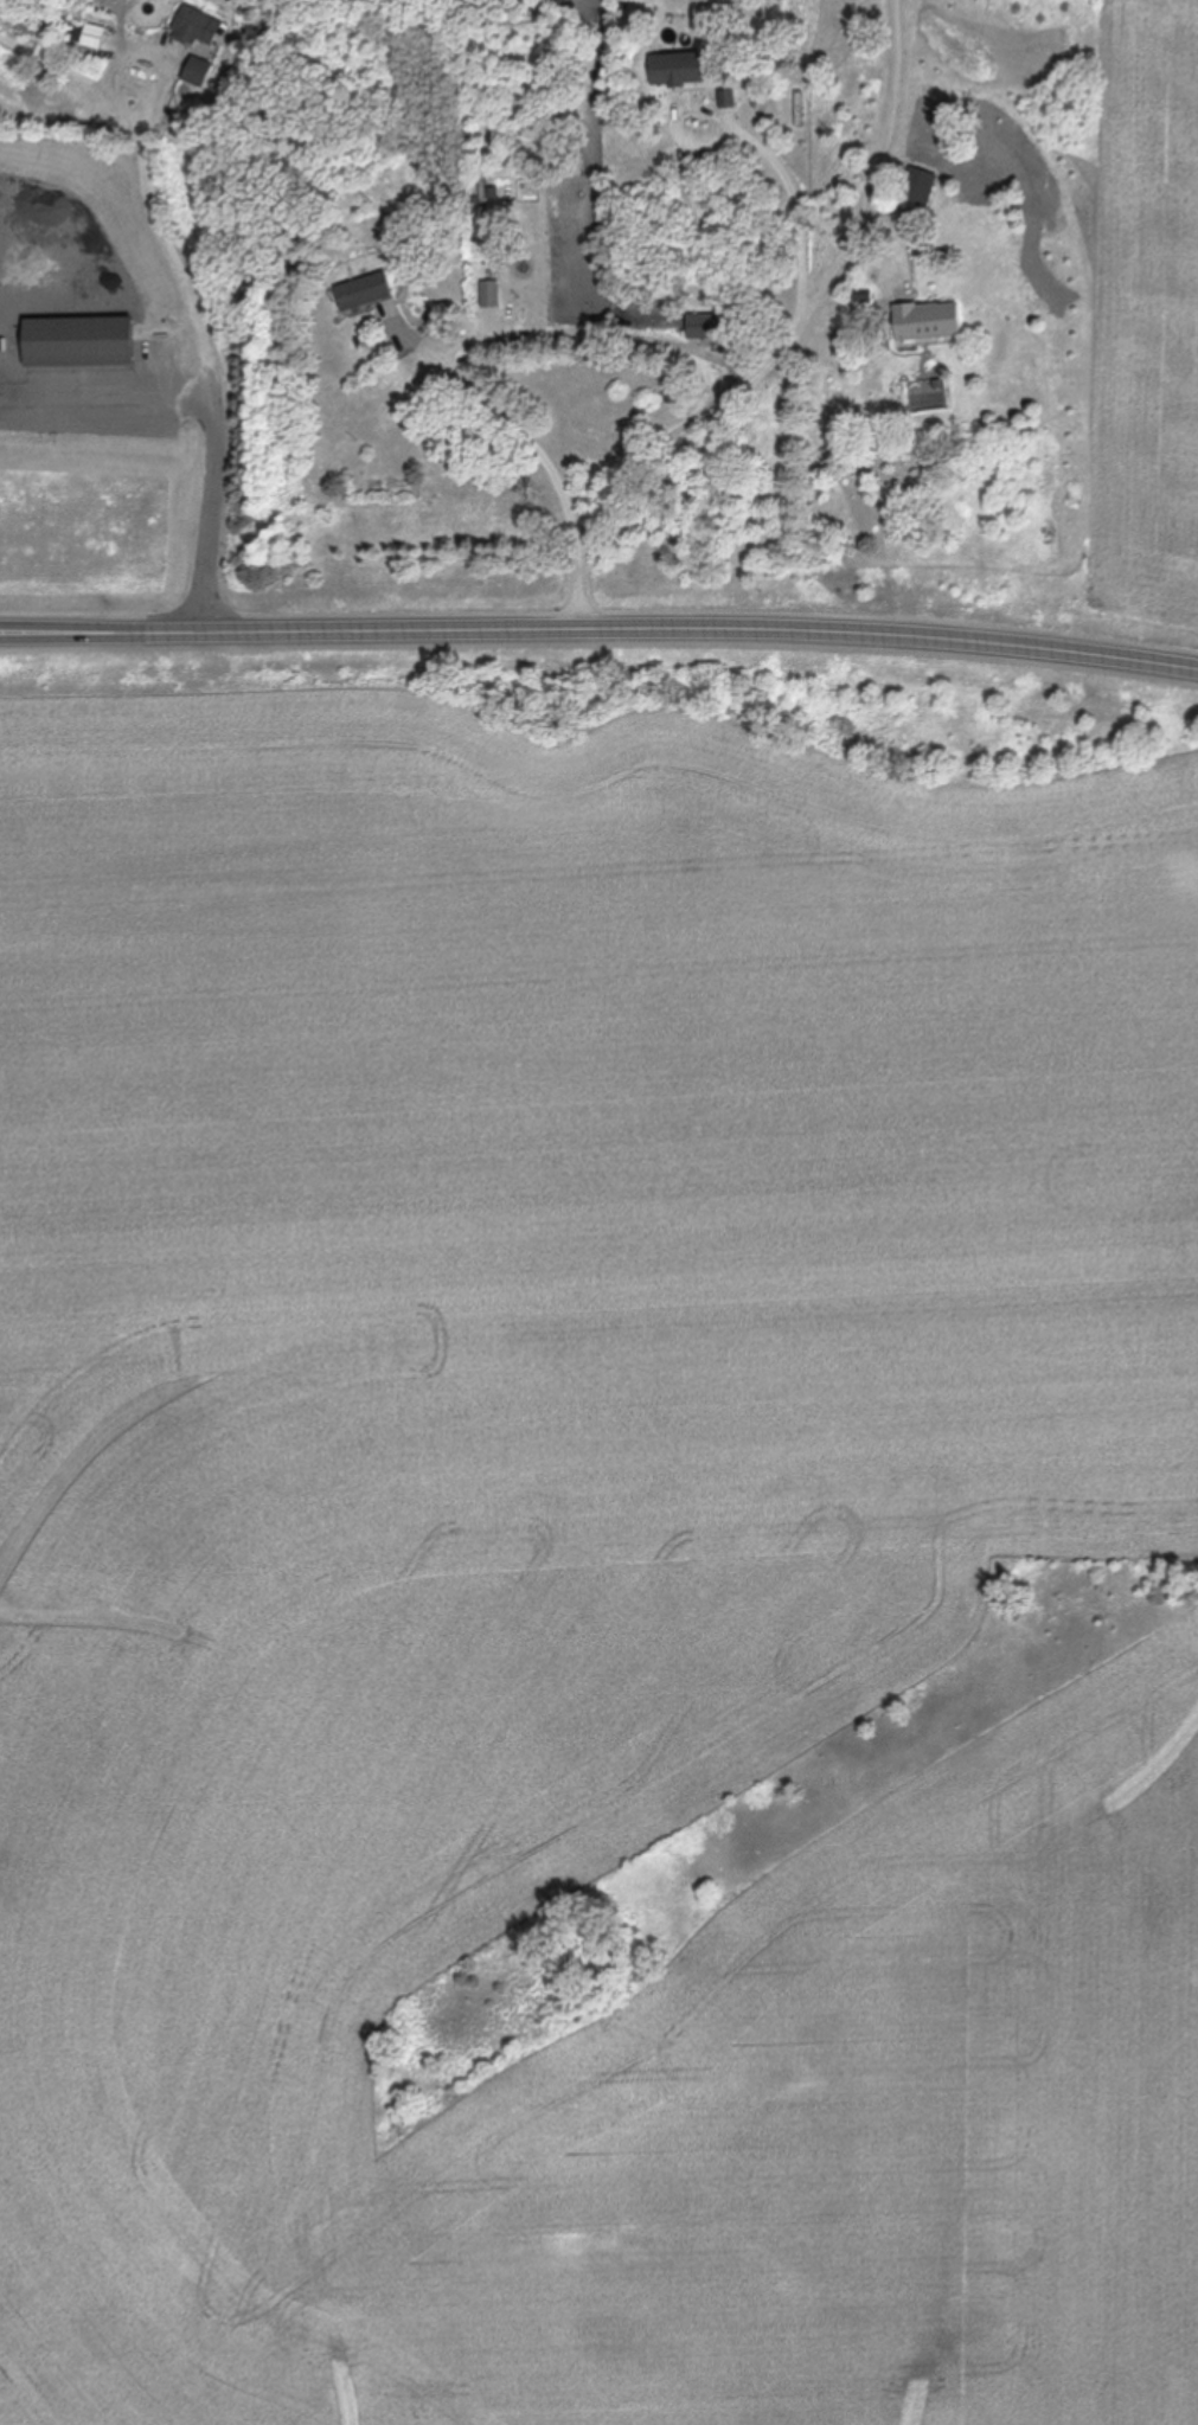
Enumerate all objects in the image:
building: (196, 28)
building: (87, 46)
building: (678, 69)
building: (199, 72)
building: (917, 187)
road: (794, 192)
building: (361, 293)
building: (927, 323)
building: (701, 327)
road: (474, 340)
building: (78, 344)
road: (781, 345)
road: (196, 355)
road: (600, 637)

